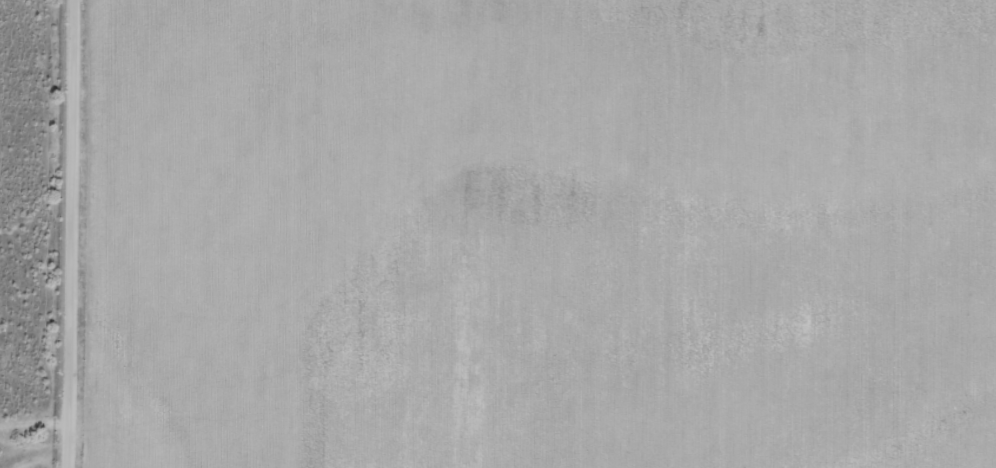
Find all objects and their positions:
road: (73, 234)

